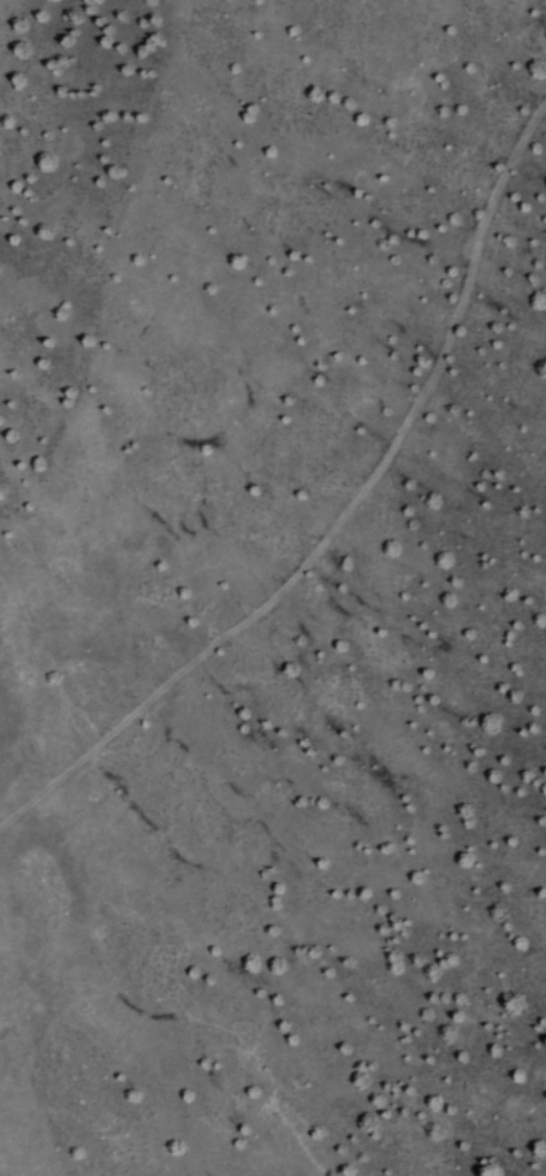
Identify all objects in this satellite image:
road: (345, 516)

